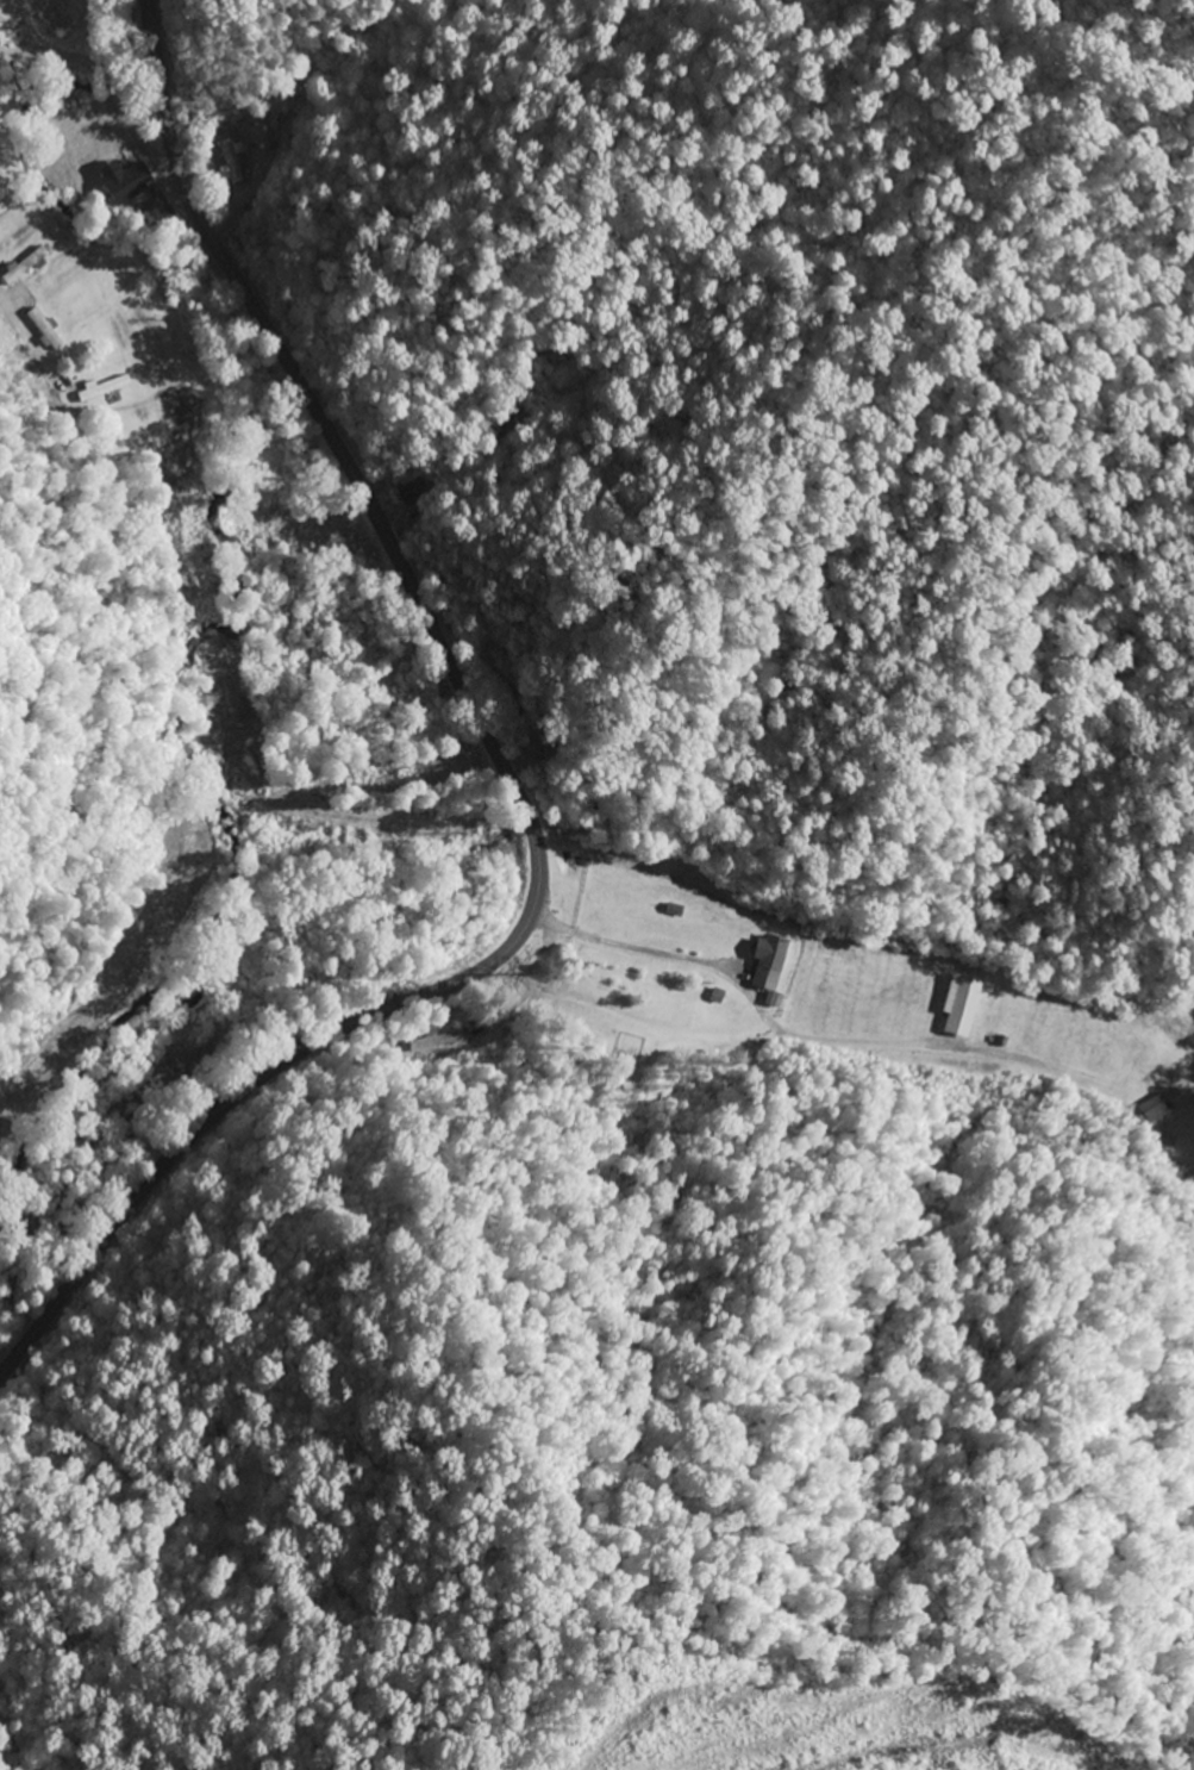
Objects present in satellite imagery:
road: (118, 89)
building: (231, 164)
building: (125, 181)
building: (408, 492)
building: (502, 686)
road: (510, 778)
building: (768, 962)
building: (437, 1041)
building: (1154, 1109)

